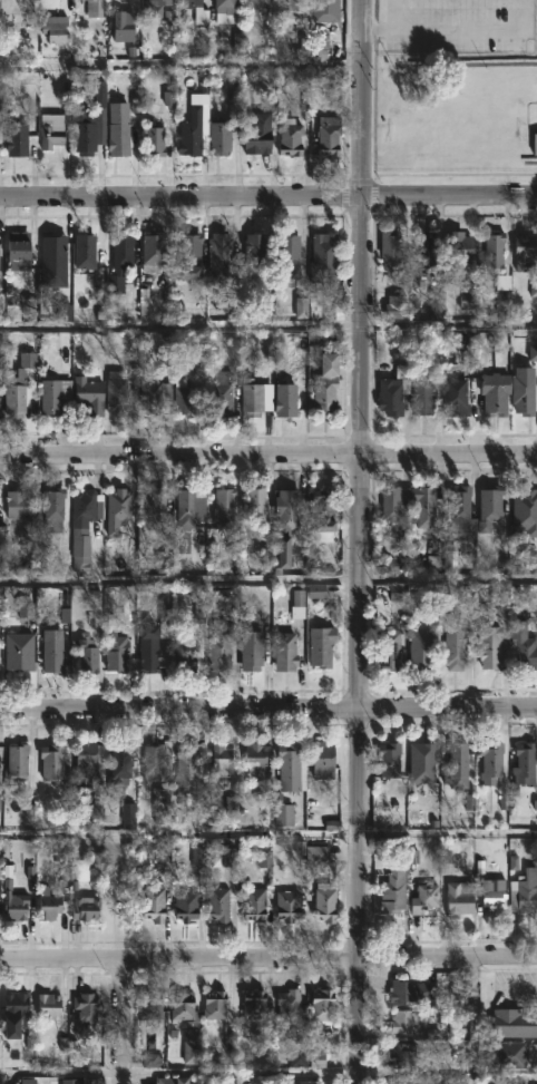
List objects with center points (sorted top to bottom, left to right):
building: (0, 4)
building: (192, 4)
building: (227, 6)
building: (252, 7)
building: (95, 8)
building: (154, 8)
building: (296, 9)
building: (326, 11)
building: (123, 27)
road: (458, 27)
building: (55, 29)
building: (462, 62)
road: (182, 67)
building: (90, 124)
building: (194, 134)
building: (51, 135)
building: (0, 136)
building: (219, 139)
building: (291, 139)
building: (329, 139)
building: (18, 140)
building: (119, 140)
building: (256, 140)
building: (154, 141)
building: (535, 144)
building: (529, 162)
road: (267, 194)
building: (422, 247)
building: (18, 248)
building: (460, 248)
building: (85, 250)
building: (255, 250)
building: (491, 250)
building: (153, 251)
building: (191, 251)
building: (392, 251)
building: (524, 251)
building: (50, 254)
building: (290, 256)
building: (219, 257)
building: (325, 257)
building: (119, 261)
building: (502, 291)
building: (320, 302)
building: (396, 306)
road: (268, 328)
building: (325, 383)
building: (20, 384)
building: (525, 390)
building: (120, 392)
building: (496, 392)
building: (89, 393)
building: (223, 393)
building: (423, 394)
building: (186, 395)
building: (390, 395)
building: (50, 397)
building: (155, 397)
building: (256, 397)
building: (456, 397)
building: (287, 399)
road: (268, 451)
building: (409, 502)
building: (256, 504)
building: (20, 505)
building: (56, 505)
building: (87, 507)
building: (152, 507)
building: (223, 507)
building: (489, 507)
building: (116, 508)
building: (461, 511)
building: (323, 512)
building: (290, 514)
building: (186, 515)
building: (1, 533)
road: (361, 541)
building: (80, 551)
road: (268, 577)
building: (154, 641)
building: (456, 644)
building: (219, 645)
building: (322, 645)
building: (490, 646)
building: (421, 647)
building: (391, 648)
building: (251, 651)
building: (284, 651)
building: (117, 652)
building: (525, 652)
building: (57, 653)
building: (184, 654)
building: (87, 655)
road: (268, 707)
building: (157, 759)
building: (221, 760)
building: (324, 760)
building: (389, 760)
building: (51, 761)
building: (256, 761)
building: (17, 762)
building: (490, 762)
building: (525, 762)
building: (421, 763)
building: (87, 764)
building: (119, 764)
building: (459, 766)
building: (291, 768)
building: (187, 769)
building: (163, 805)
building: (283, 811)
building: (128, 814)
road: (267, 833)
building: (321, 856)
building: (78, 871)
building: (394, 889)
building: (524, 891)
building: (495, 893)
building: (423, 898)
building: (460, 898)
building: (154, 901)
building: (255, 901)
building: (325, 902)
building: (49, 905)
building: (217, 905)
building: (287, 905)
building: (16, 906)
building: (186, 906)
building: (86, 907)
road: (267, 955)
building: (411, 990)
building: (289, 1003)
building: (149, 1005)
building: (214, 1005)
building: (254, 1005)
building: (322, 1005)
building: (16, 1006)
building: (48, 1006)
building: (87, 1007)
building: (182, 1007)
road: (124, 1019)
road: (473, 1019)
building: (514, 1020)
building: (412, 1024)
building: (192, 1044)
building: (299, 1054)
building: (533, 1054)
building: (403, 1057)
road: (179, 1074)
building: (436, 1077)
road: (240, 1078)
road: (0, 1080)
building: (71, 1081)
building: (172, 1081)
building: (304, 1082)
building: (408, 1083)

